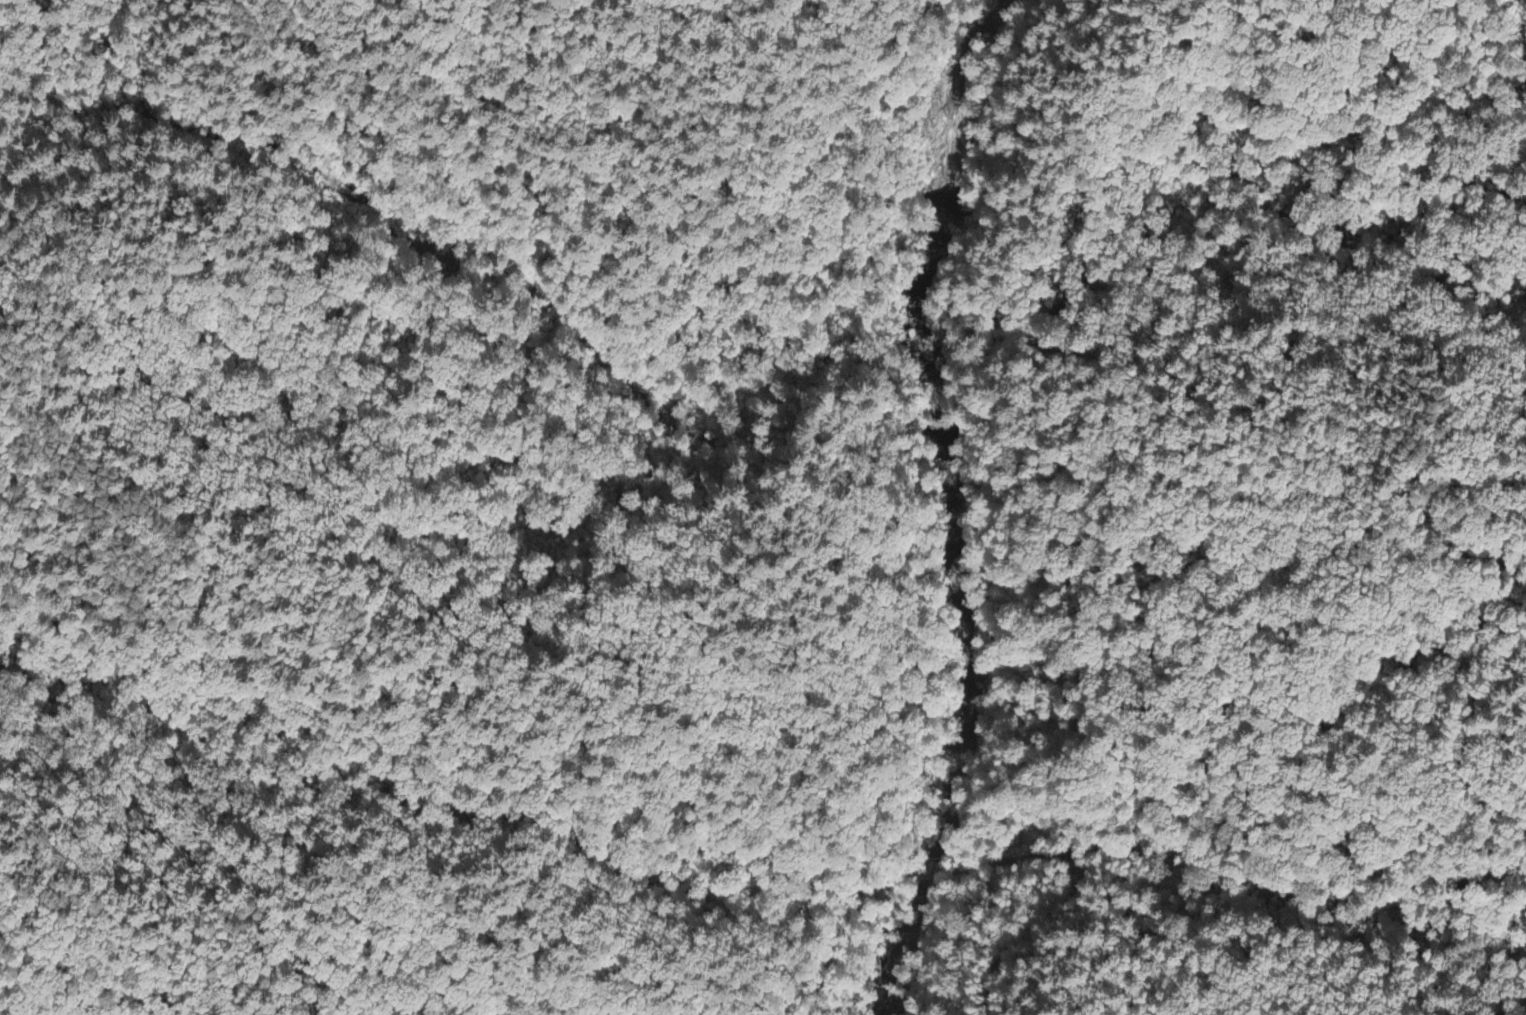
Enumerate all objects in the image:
road: (282, 5)
river: (952, 508)
road: (1431, 515)
road: (1463, 743)
road: (932, 871)
road: (1075, 886)
road: (845, 927)

